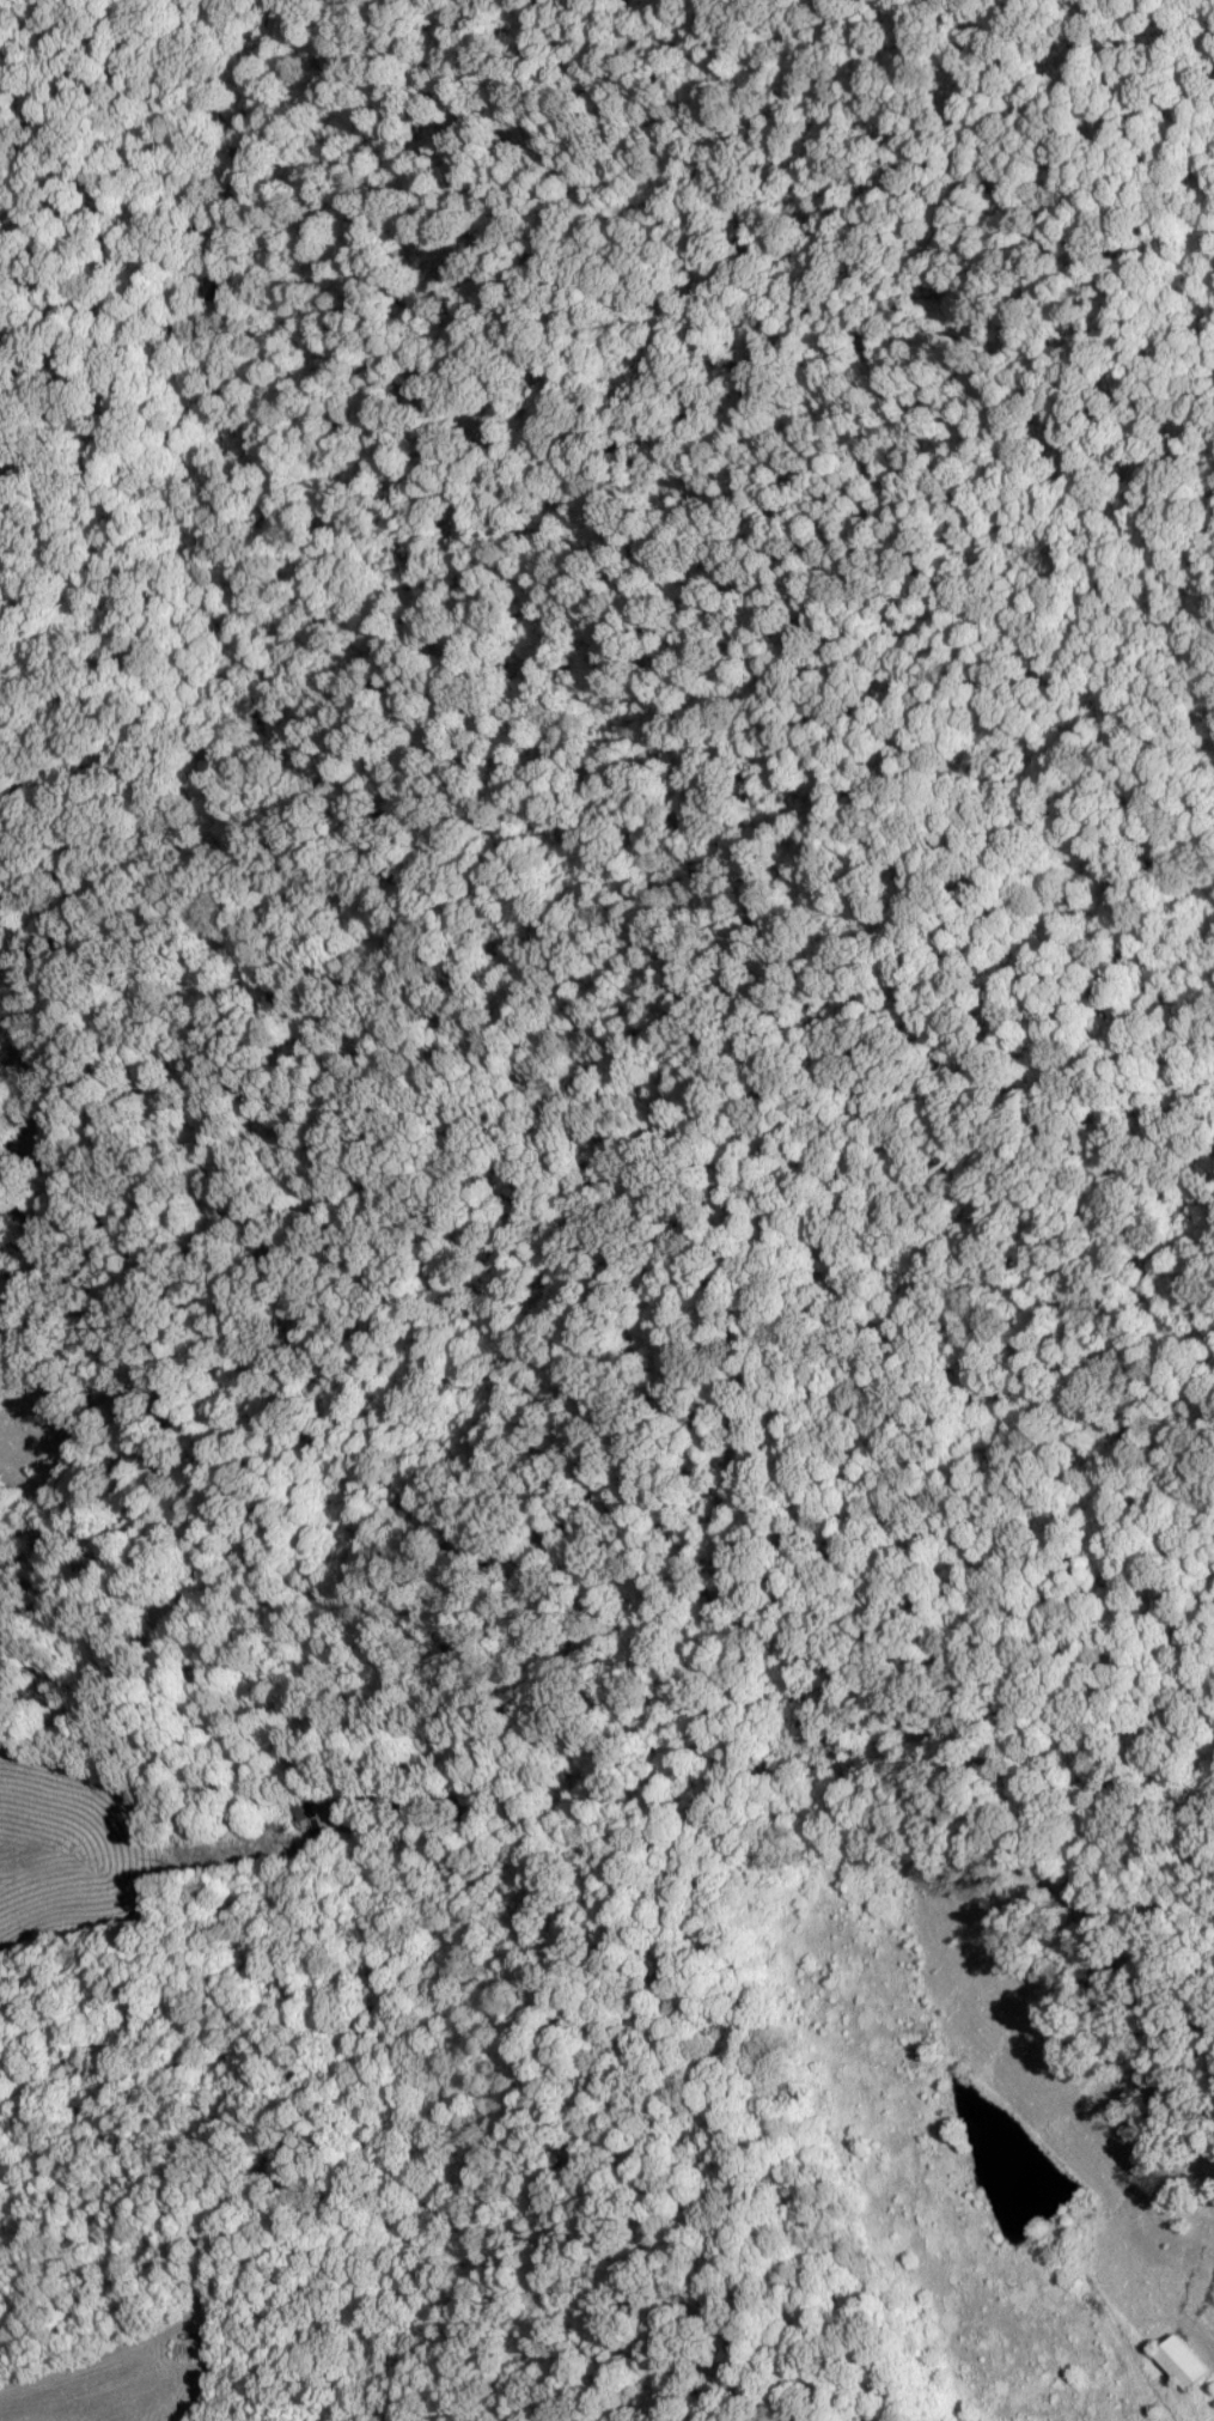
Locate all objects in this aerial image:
building: (300, 1805)
road: (122, 2349)
building: (1178, 2361)

